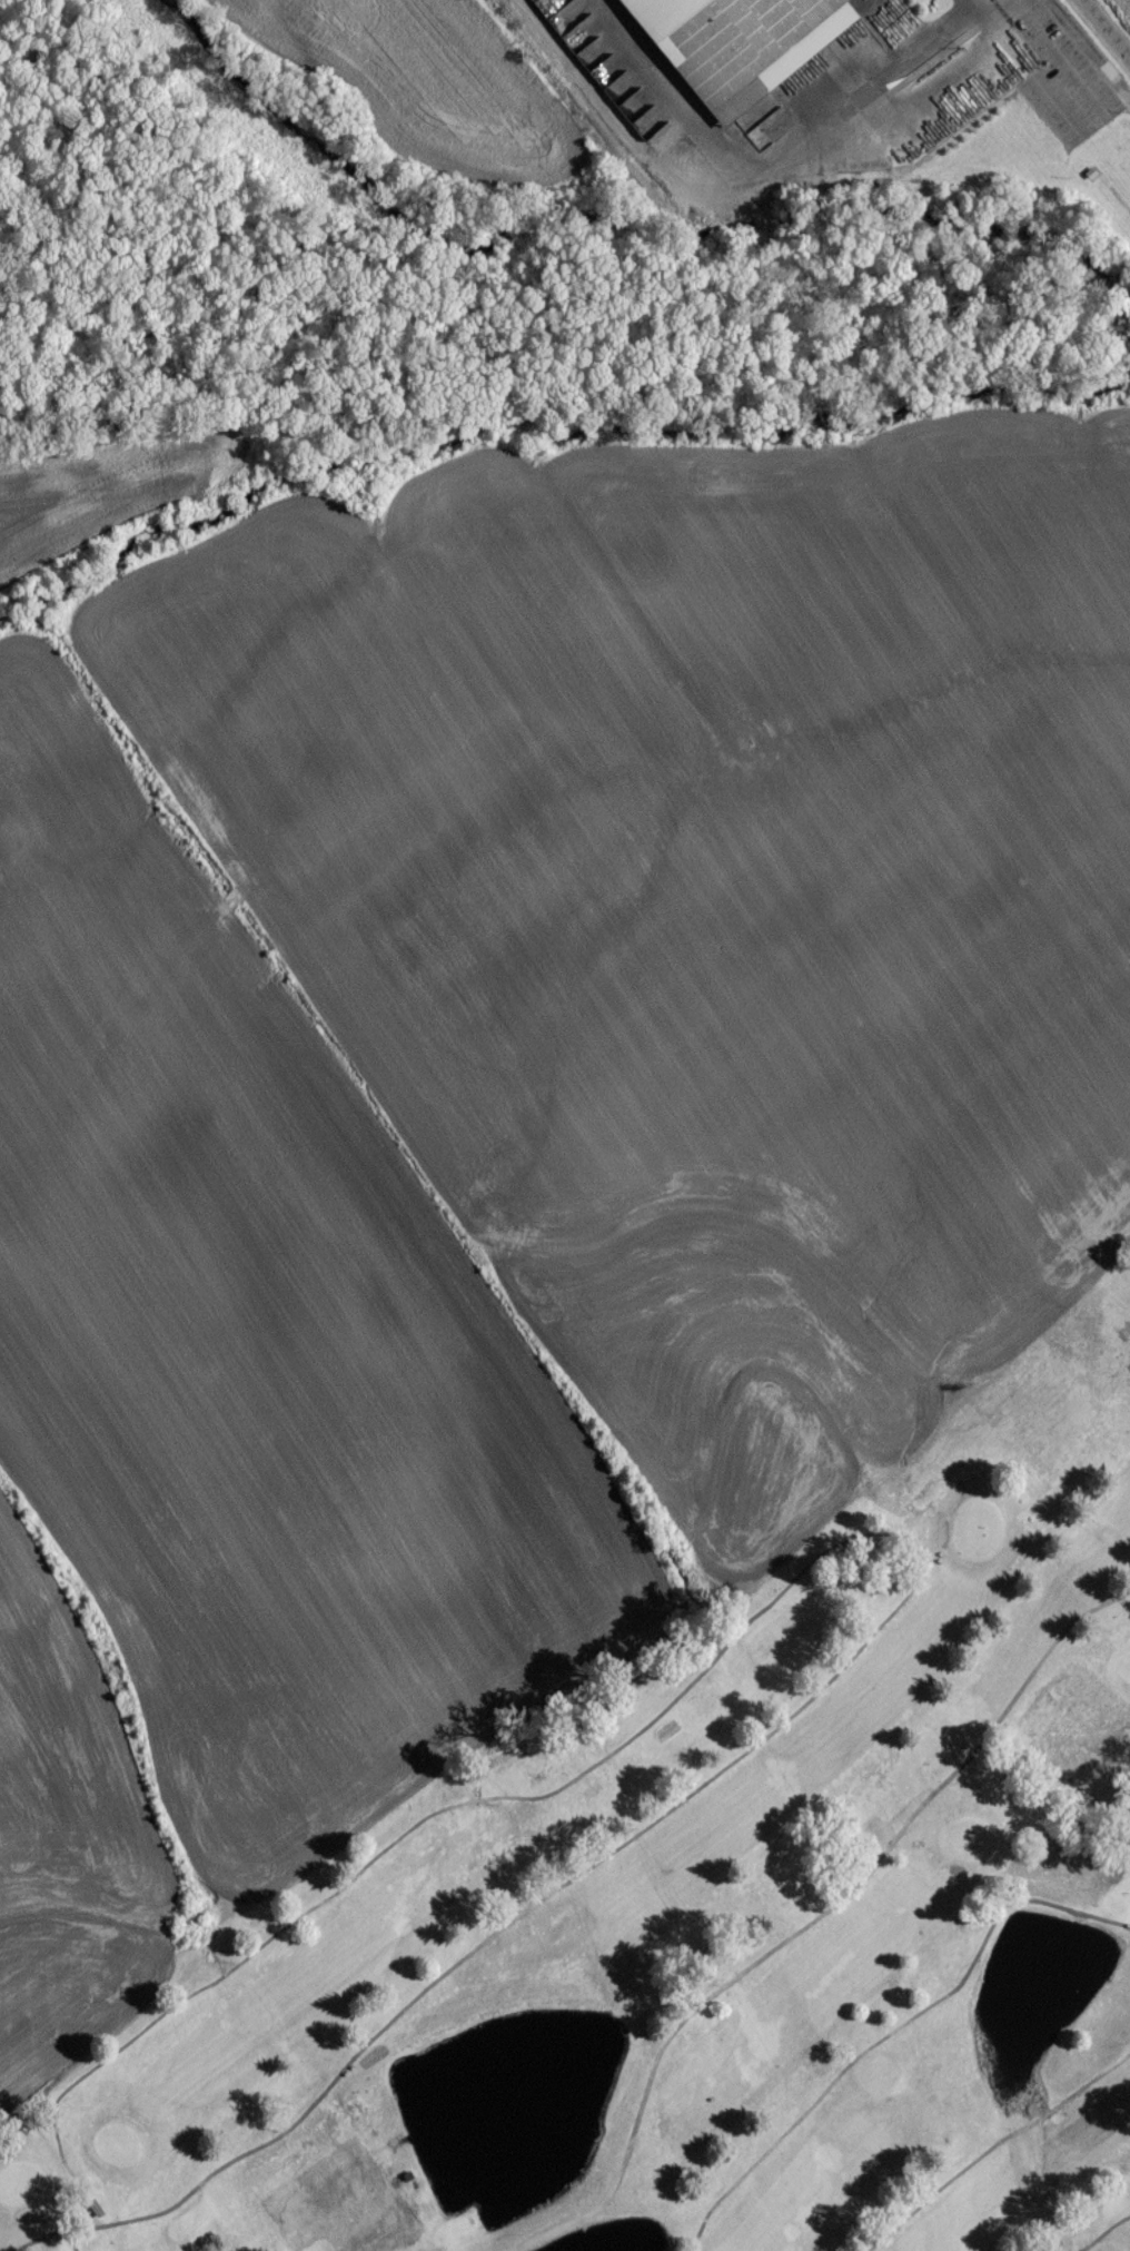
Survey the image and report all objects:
road: (970, 2)
road: (991, 6)
road: (1101, 34)
road: (1084, 89)
road: (770, 159)
road: (873, 1541)
building: (1027, 1787)
park: (702, 1887)
road: (814, 1925)
road: (1106, 1926)
road: (869, 2054)
road: (997, 2148)
building: (404, 2182)
building: (412, 2190)
building: (414, 2193)
building: (92, 2212)
road: (1109, 2234)
road: (59, 2238)
road: (80, 2239)

